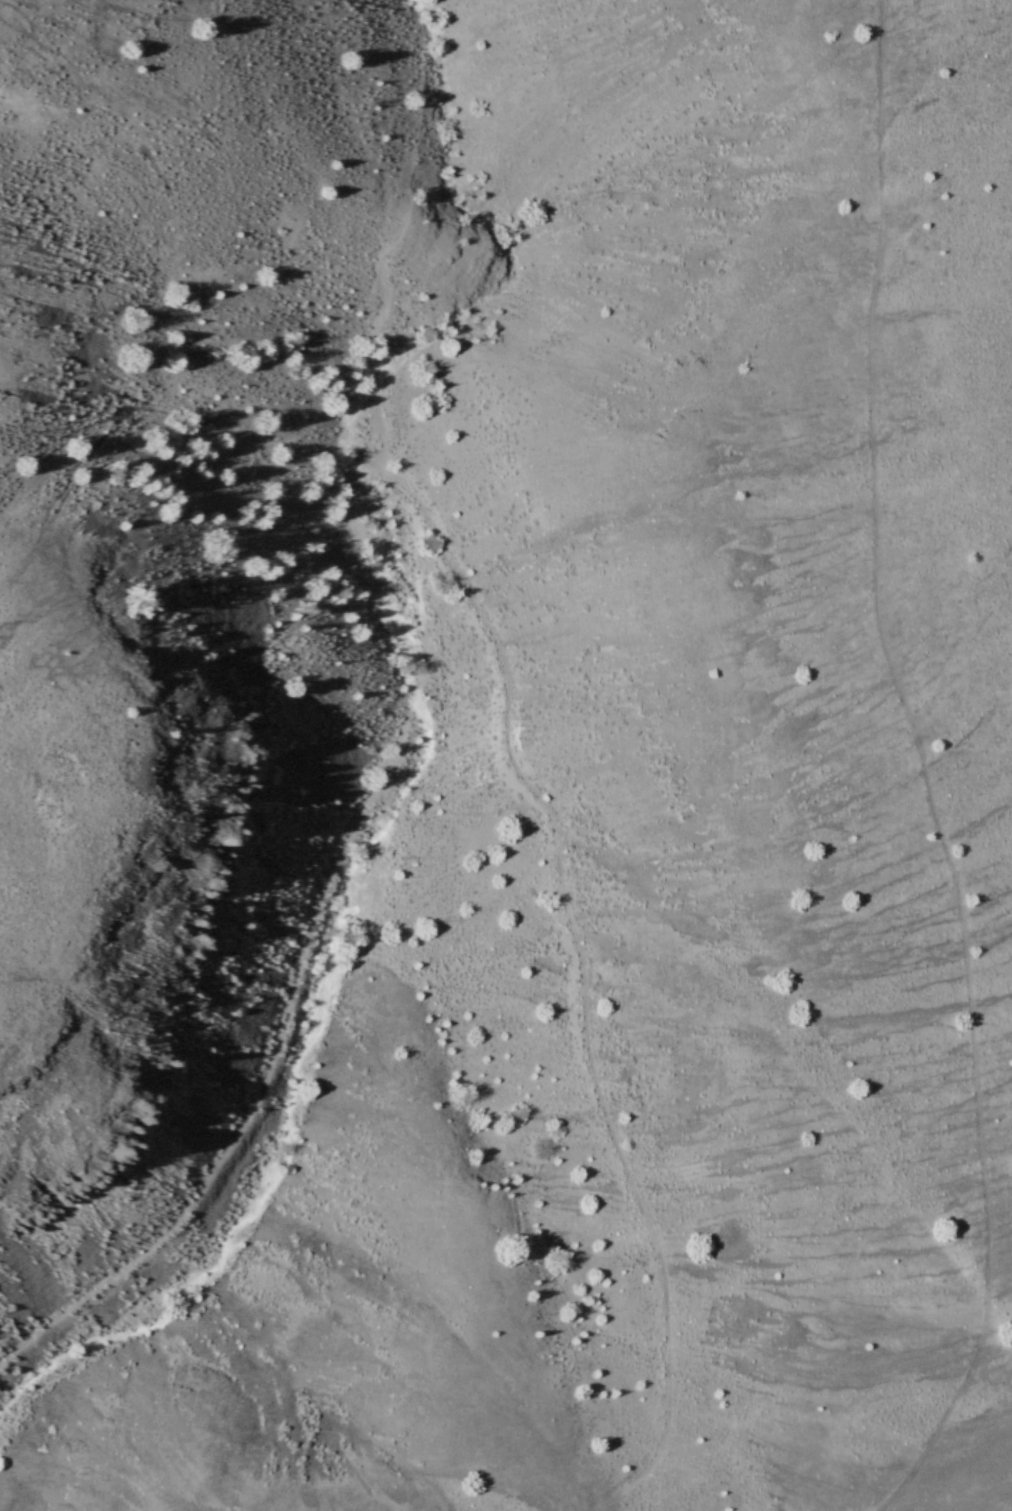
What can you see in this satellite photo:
road: (888, 774)

